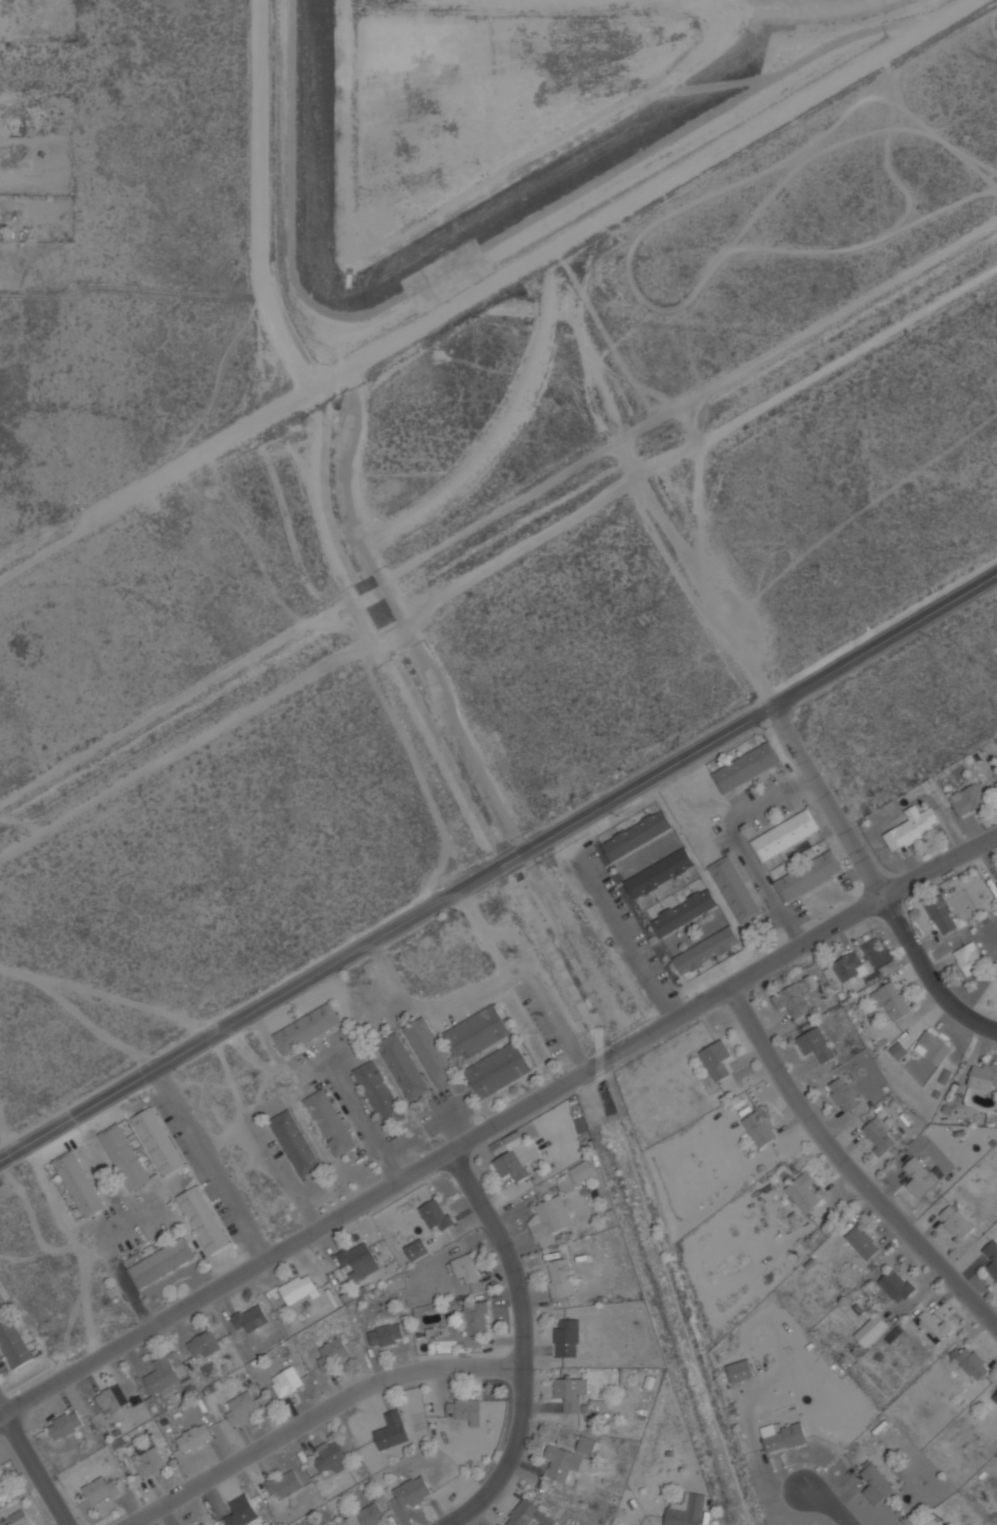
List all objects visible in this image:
road: (631, 103)
road: (259, 213)
road: (492, 290)
road: (603, 399)
road: (498, 560)
road: (372, 652)
road: (804, 766)
building: (745, 767)
building: (996, 771)
building: (995, 779)
building: (968, 799)
building: (913, 826)
building: (636, 834)
building: (785, 835)
building: (659, 873)
road: (500, 874)
building: (808, 876)
building: (996, 881)
building: (735, 889)
building: (684, 912)
building: (941, 914)
road: (628, 938)
building: (706, 950)
building: (969, 958)
building: (849, 967)
building: (891, 1000)
building: (791, 1001)
road: (129, 1002)
road: (80, 1017)
building: (307, 1028)
building: (477, 1033)
building: (815, 1045)
building: (932, 1047)
building: (430, 1050)
building: (898, 1050)
building: (717, 1059)
building: (403, 1066)
building: (498, 1070)
building: (982, 1075)
building: (379, 1093)
building: (842, 1094)
building: (330, 1122)
road: (498, 1123)
building: (760, 1127)
building: (878, 1135)
building: (158, 1141)
building: (295, 1143)
building: (125, 1157)
building: (511, 1165)
road: (848, 1168)
building: (581, 1172)
building: (918, 1177)
building: (79, 1184)
building: (803, 1191)
building: (435, 1215)
building: (204, 1219)
building: (548, 1220)
building: (955, 1222)
building: (862, 1242)
building: (416, 1249)
building: (991, 1257)
building: (358, 1261)
building: (161, 1262)
building: (466, 1269)
building: (560, 1278)
building: (897, 1285)
building: (297, 1288)
building: (249, 1317)
building: (476, 1318)
building: (933, 1327)
building: (871, 1330)
building: (386, 1335)
building: (11, 1336)
building: (566, 1338)
building: (203, 1345)
road: (522, 1345)
building: (333, 1353)
building: (972, 1363)
building: (740, 1371)
building: (162, 1378)
building: (286, 1382)
building: (570, 1392)
building: (995, 1398)
building: (112, 1400)
building: (241, 1408)
building: (465, 1410)
road: (317, 1414)
building: (65, 1425)
building: (391, 1429)
building: (782, 1436)
building: (194, 1438)
building: (586, 1445)
building: (332, 1458)
building: (148, 1461)
building: (564, 1463)
road: (35, 1469)
building: (2, 1481)
building: (283, 1484)
building: (875, 1484)
building: (100, 1491)
building: (412, 1492)
road: (829, 1506)
building: (686, 1510)
building: (240, 1512)
building: (528, 1514)
building: (367, 1516)
building: (16, 1519)
building: (200, 1523)
building: (327, 1524)
building: (923, 1524)

